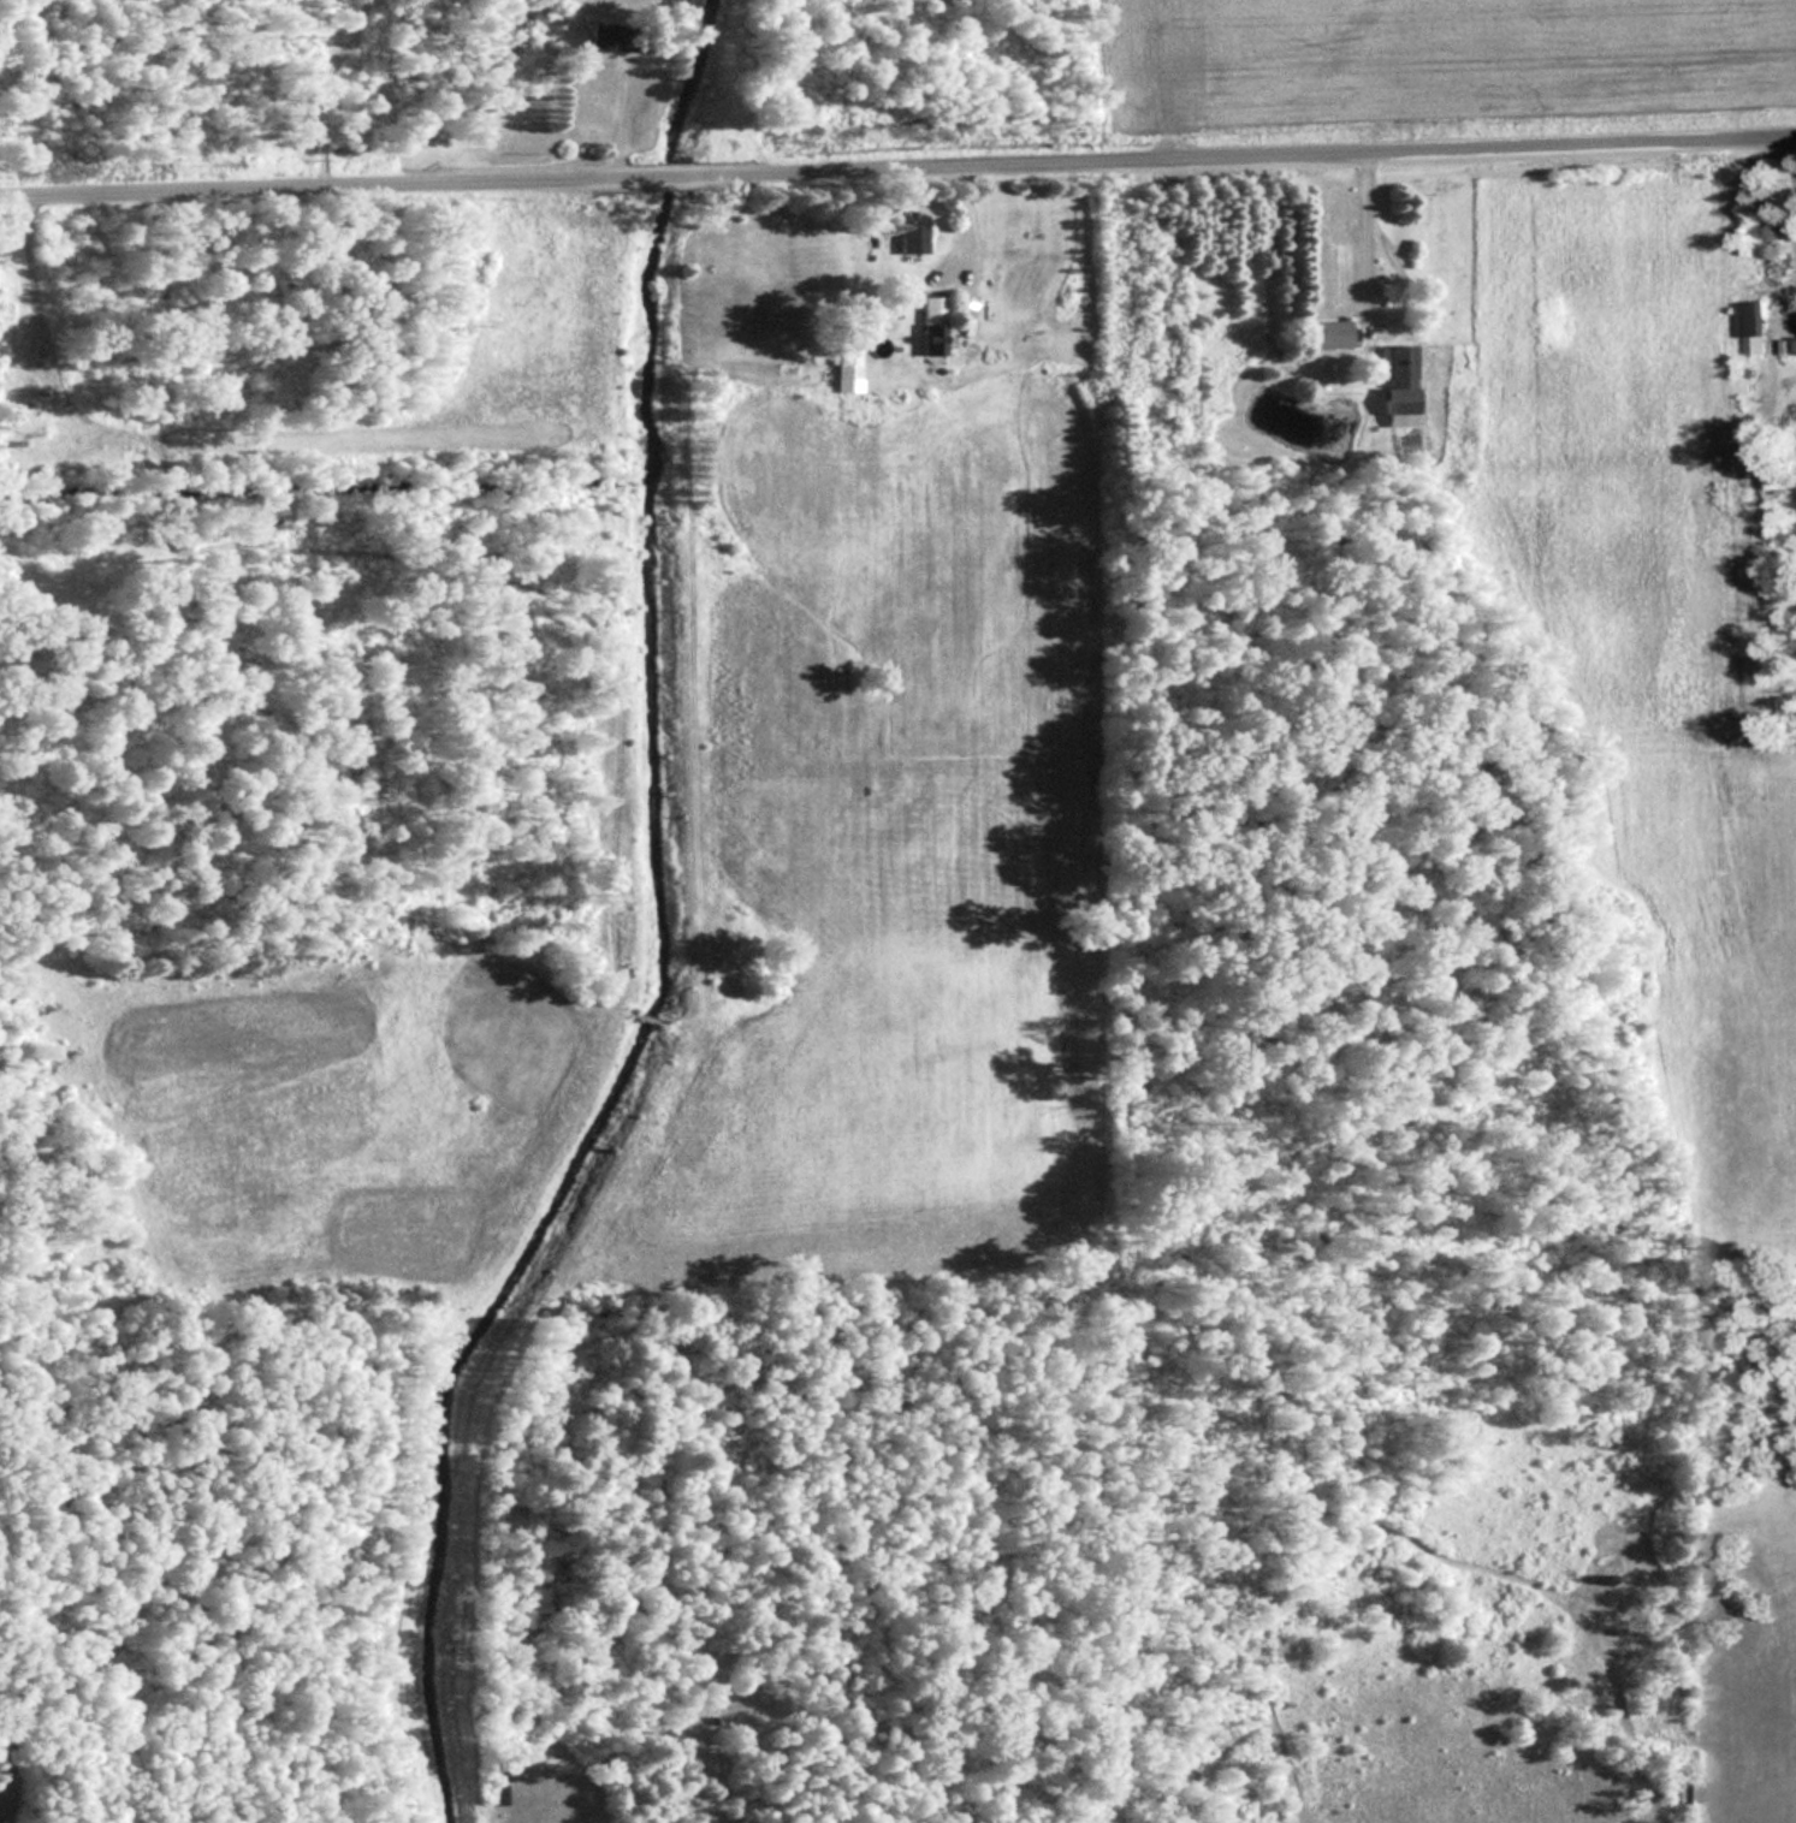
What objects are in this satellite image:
building: (604, 37)
road: (897, 171)
building: (907, 230)
building: (1748, 319)
building: (930, 323)
building: (1324, 333)
building: (844, 364)
building: (1398, 379)
building: (497, 1794)

